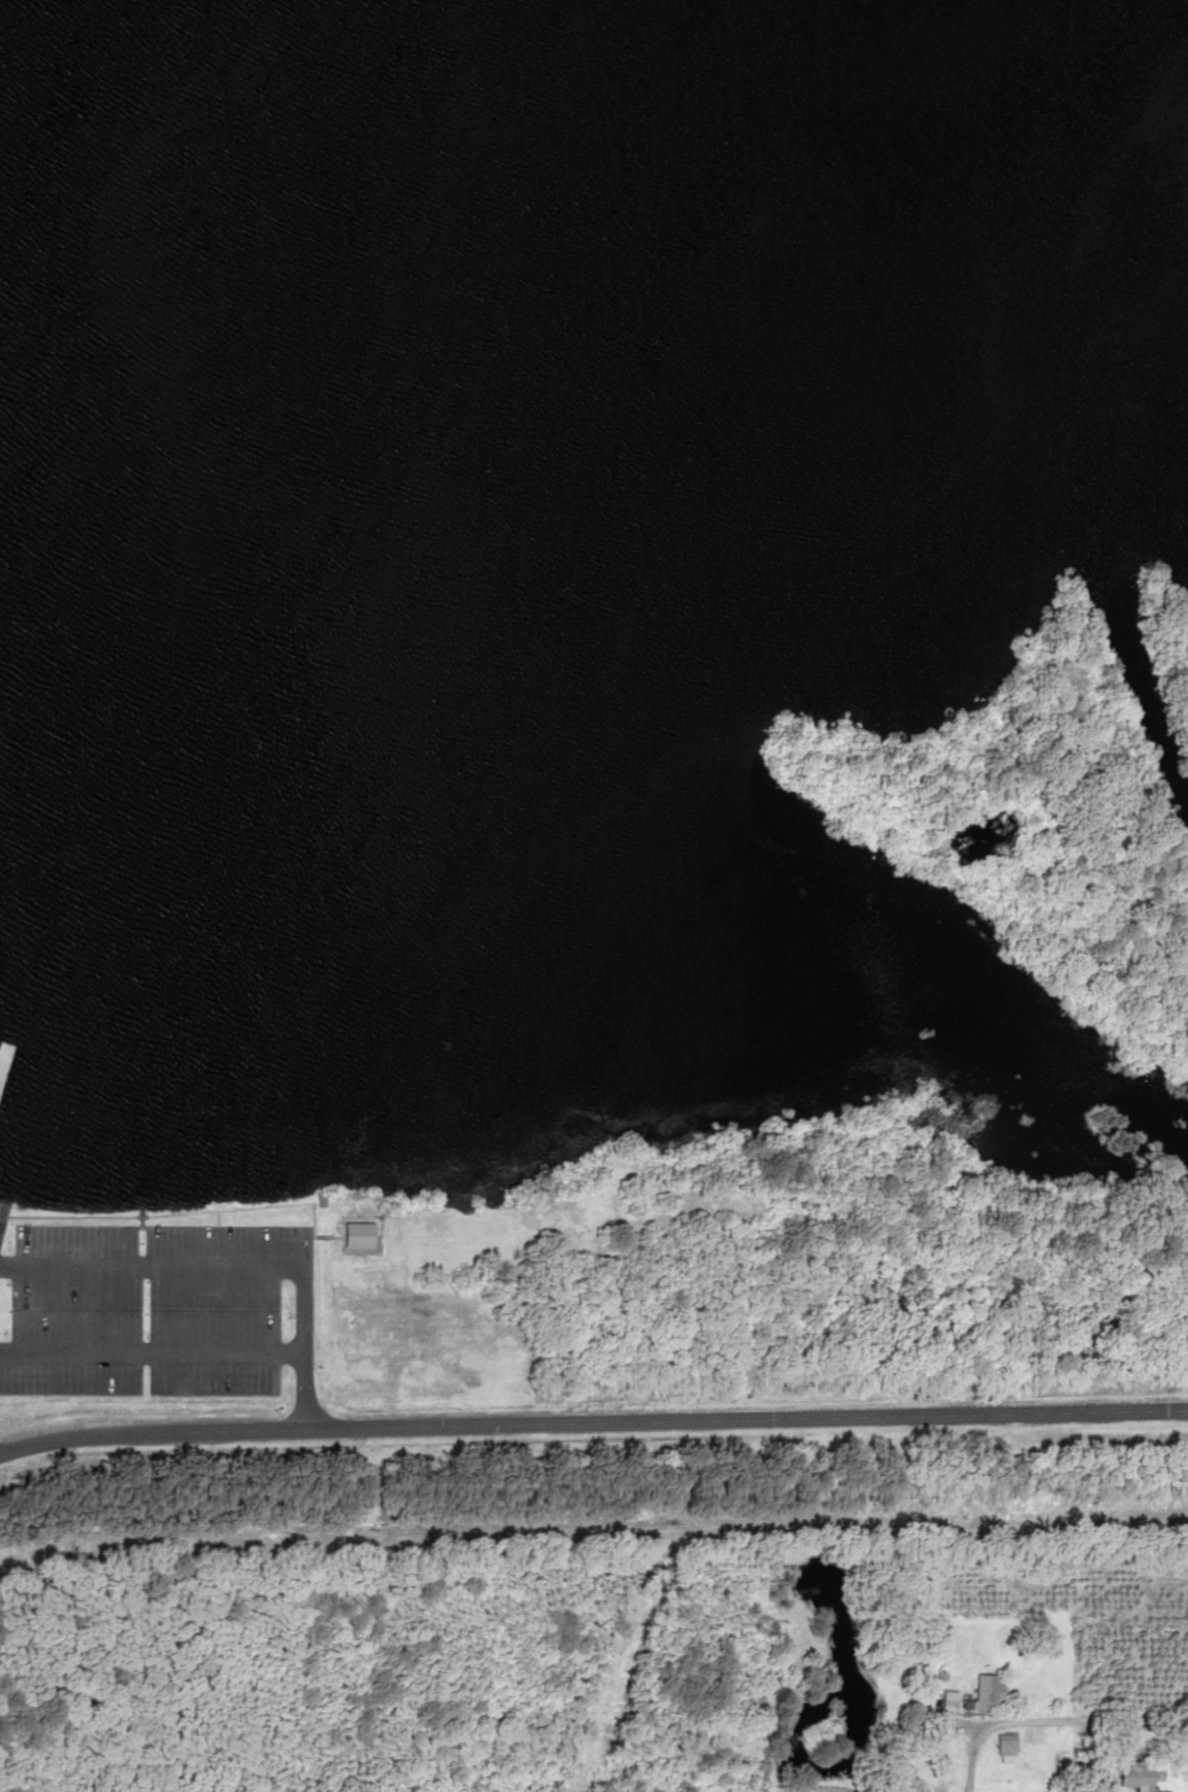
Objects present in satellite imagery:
building: (362, 1235)
road: (592, 1423)
road: (1050, 1721)
building: (1005, 1748)
building: (1137, 1779)
road: (819, 1790)

